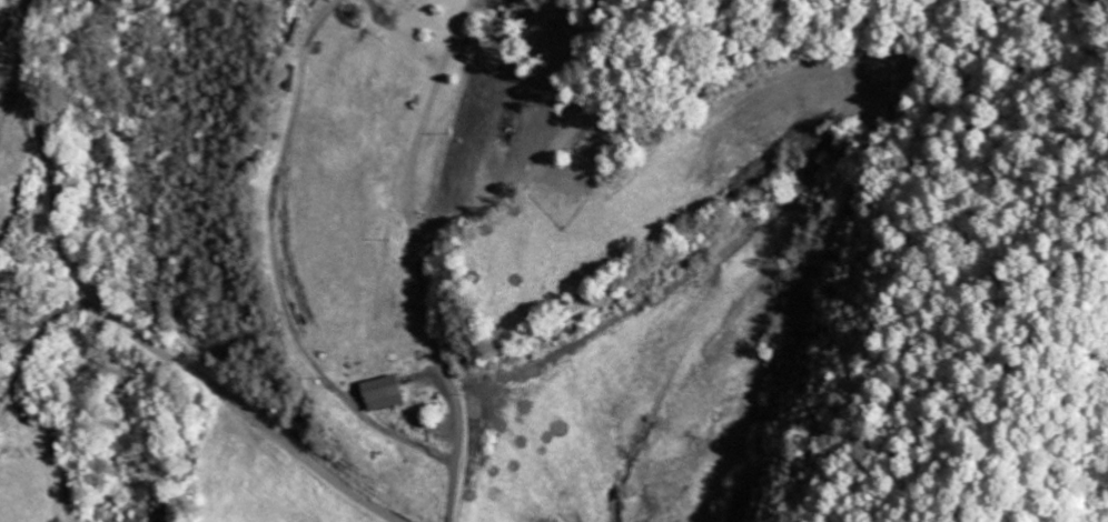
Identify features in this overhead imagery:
road: (556, 145)
road: (435, 353)
building: (390, 392)

